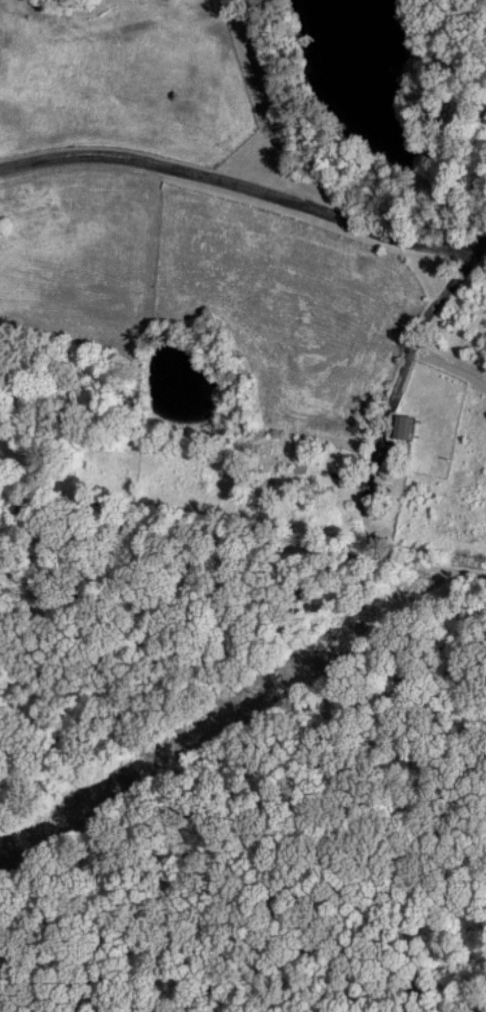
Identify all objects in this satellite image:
road: (243, 184)
building: (399, 425)
road: (242, 567)

